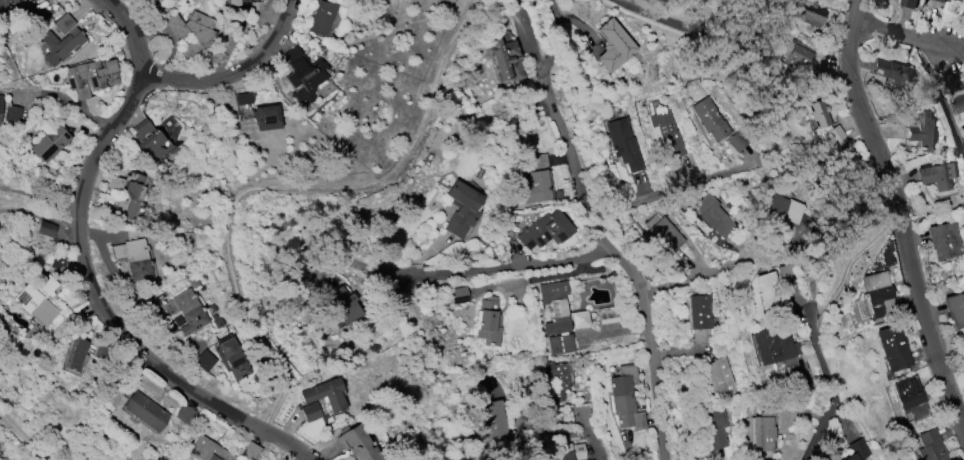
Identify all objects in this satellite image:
building: (28, 0)
building: (940, 1)
building: (233, 2)
building: (908, 3)
building: (3, 4)
building: (320, 18)
building: (807, 18)
building: (63, 23)
road: (521, 28)
building: (190, 30)
road: (898, 33)
building: (60, 44)
building: (612, 45)
building: (795, 53)
building: (505, 59)
building: (893, 71)
road: (231, 74)
building: (302, 74)
building: (88, 76)
building: (956, 83)
road: (940, 95)
road: (64, 98)
building: (240, 98)
building: (0, 99)
building: (959, 105)
building: (11, 113)
building: (265, 116)
building: (709, 118)
building: (822, 123)
building: (921, 130)
building: (666, 133)
building: (151, 139)
building: (48, 140)
building: (737, 141)
building: (623, 143)
building: (539, 161)
building: (936, 175)
road: (283, 185)
building: (536, 186)
road: (676, 186)
building: (125, 193)
road: (37, 194)
building: (781, 208)
building: (460, 209)
building: (711, 214)
road: (891, 219)
building: (45, 229)
building: (544, 230)
building: (663, 232)
building: (944, 240)
road: (74, 243)
road: (618, 252)
building: (132, 257)
building: (56, 262)
road: (714, 266)
road: (500, 270)
building: (786, 273)
building: (46, 283)
building: (767, 291)
building: (876, 292)
building: (459, 294)
building: (344, 303)
building: (35, 305)
building: (554, 306)
building: (955, 309)
building: (182, 310)
building: (698, 311)
building: (607, 316)
building: (579, 318)
building: (488, 321)
building: (560, 344)
building: (774, 344)
building: (892, 348)
building: (75, 355)
building: (230, 358)
building: (202, 360)
building: (719, 376)
building: (554, 380)
road: (831, 390)
building: (325, 394)
building: (909, 397)
building: (625, 398)
building: (145, 411)
building: (309, 411)
building: (183, 414)
building: (564, 416)
building: (493, 419)
road: (534, 424)
road: (30, 428)
building: (763, 428)
building: (713, 436)
building: (357, 443)
road: (595, 445)
building: (930, 446)
road: (273, 448)
building: (857, 449)
building: (208, 450)
building: (249, 451)
building: (572, 451)

